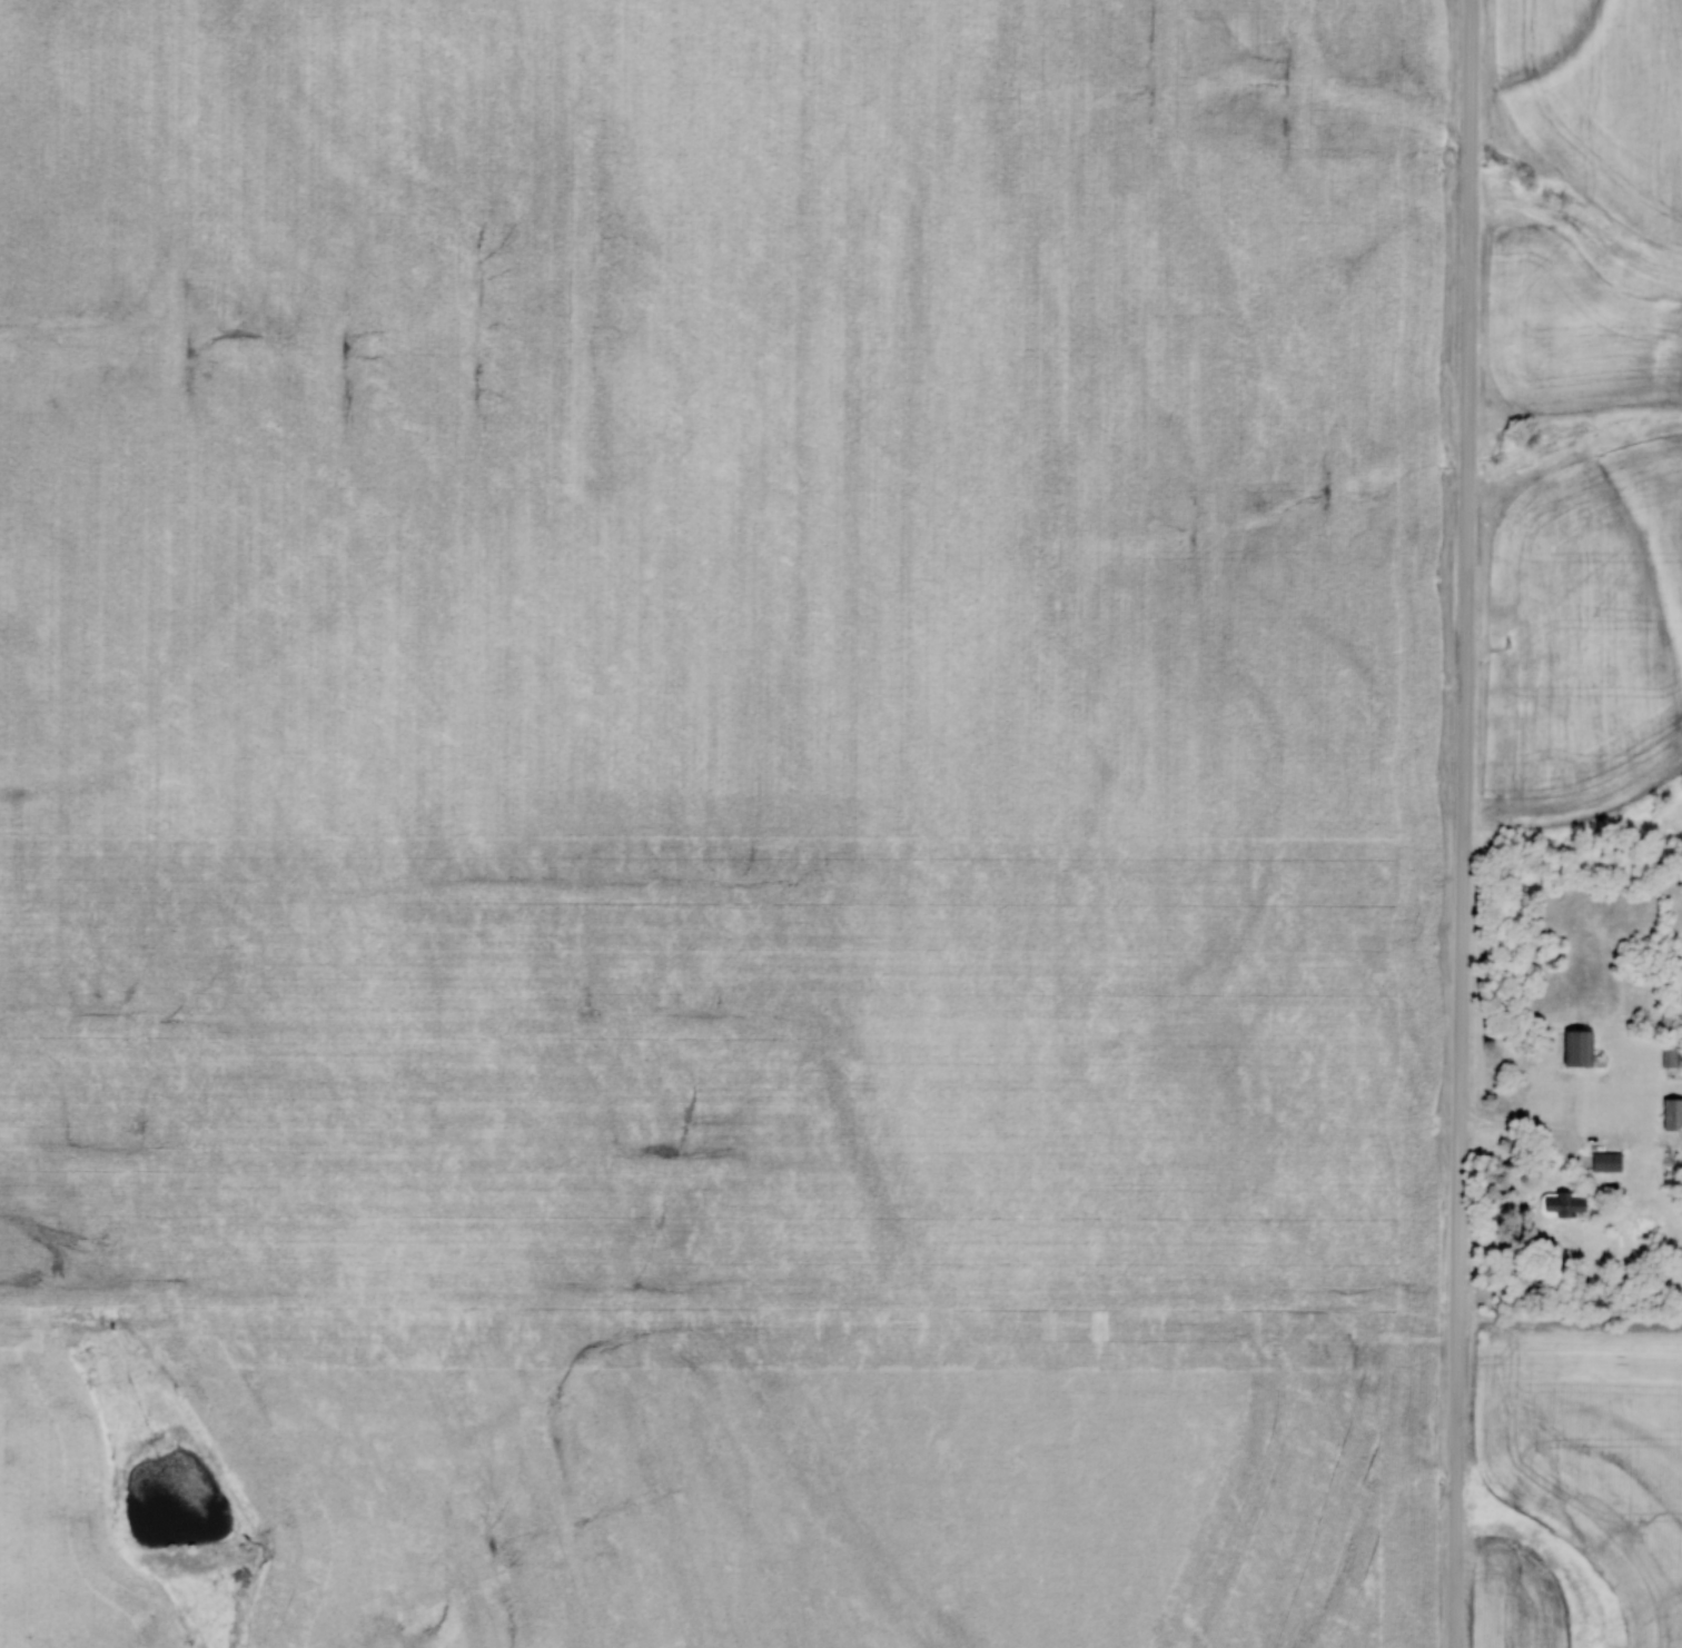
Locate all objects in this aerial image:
road: (1467, 823)
building: (1576, 1049)
building: (1669, 1054)
building: (1672, 1114)
building: (1605, 1162)
building: (1673, 1181)
building: (1563, 1203)

